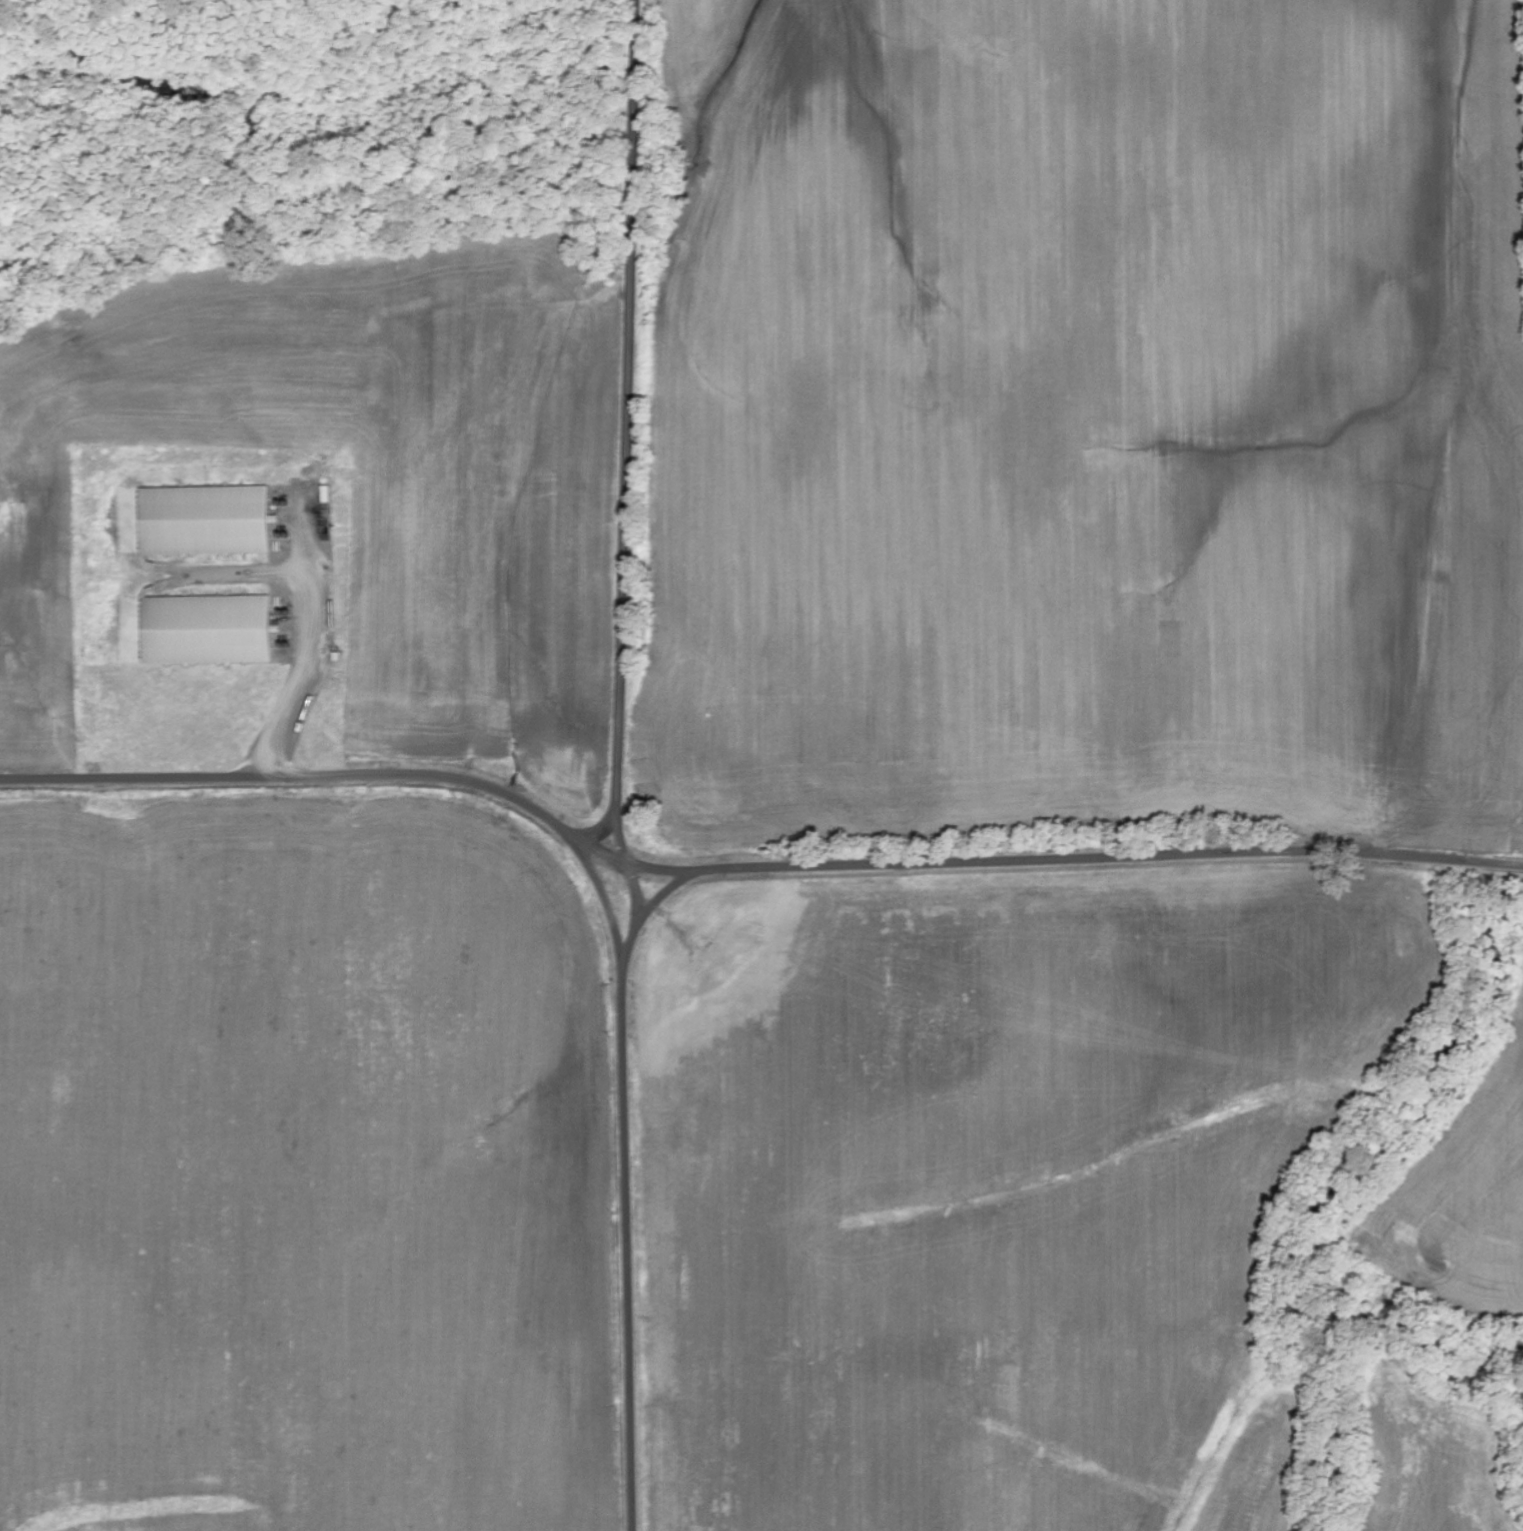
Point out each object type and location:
road: (619, 767)
road: (751, 868)
road: (602, 892)

